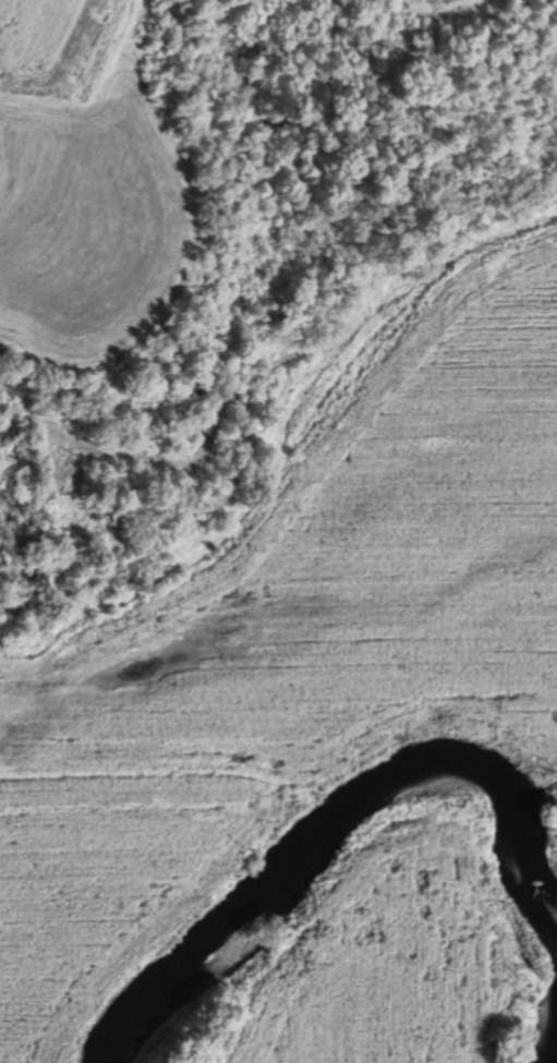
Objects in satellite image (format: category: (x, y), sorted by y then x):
river: (303, 833)
river: (536, 1029)

